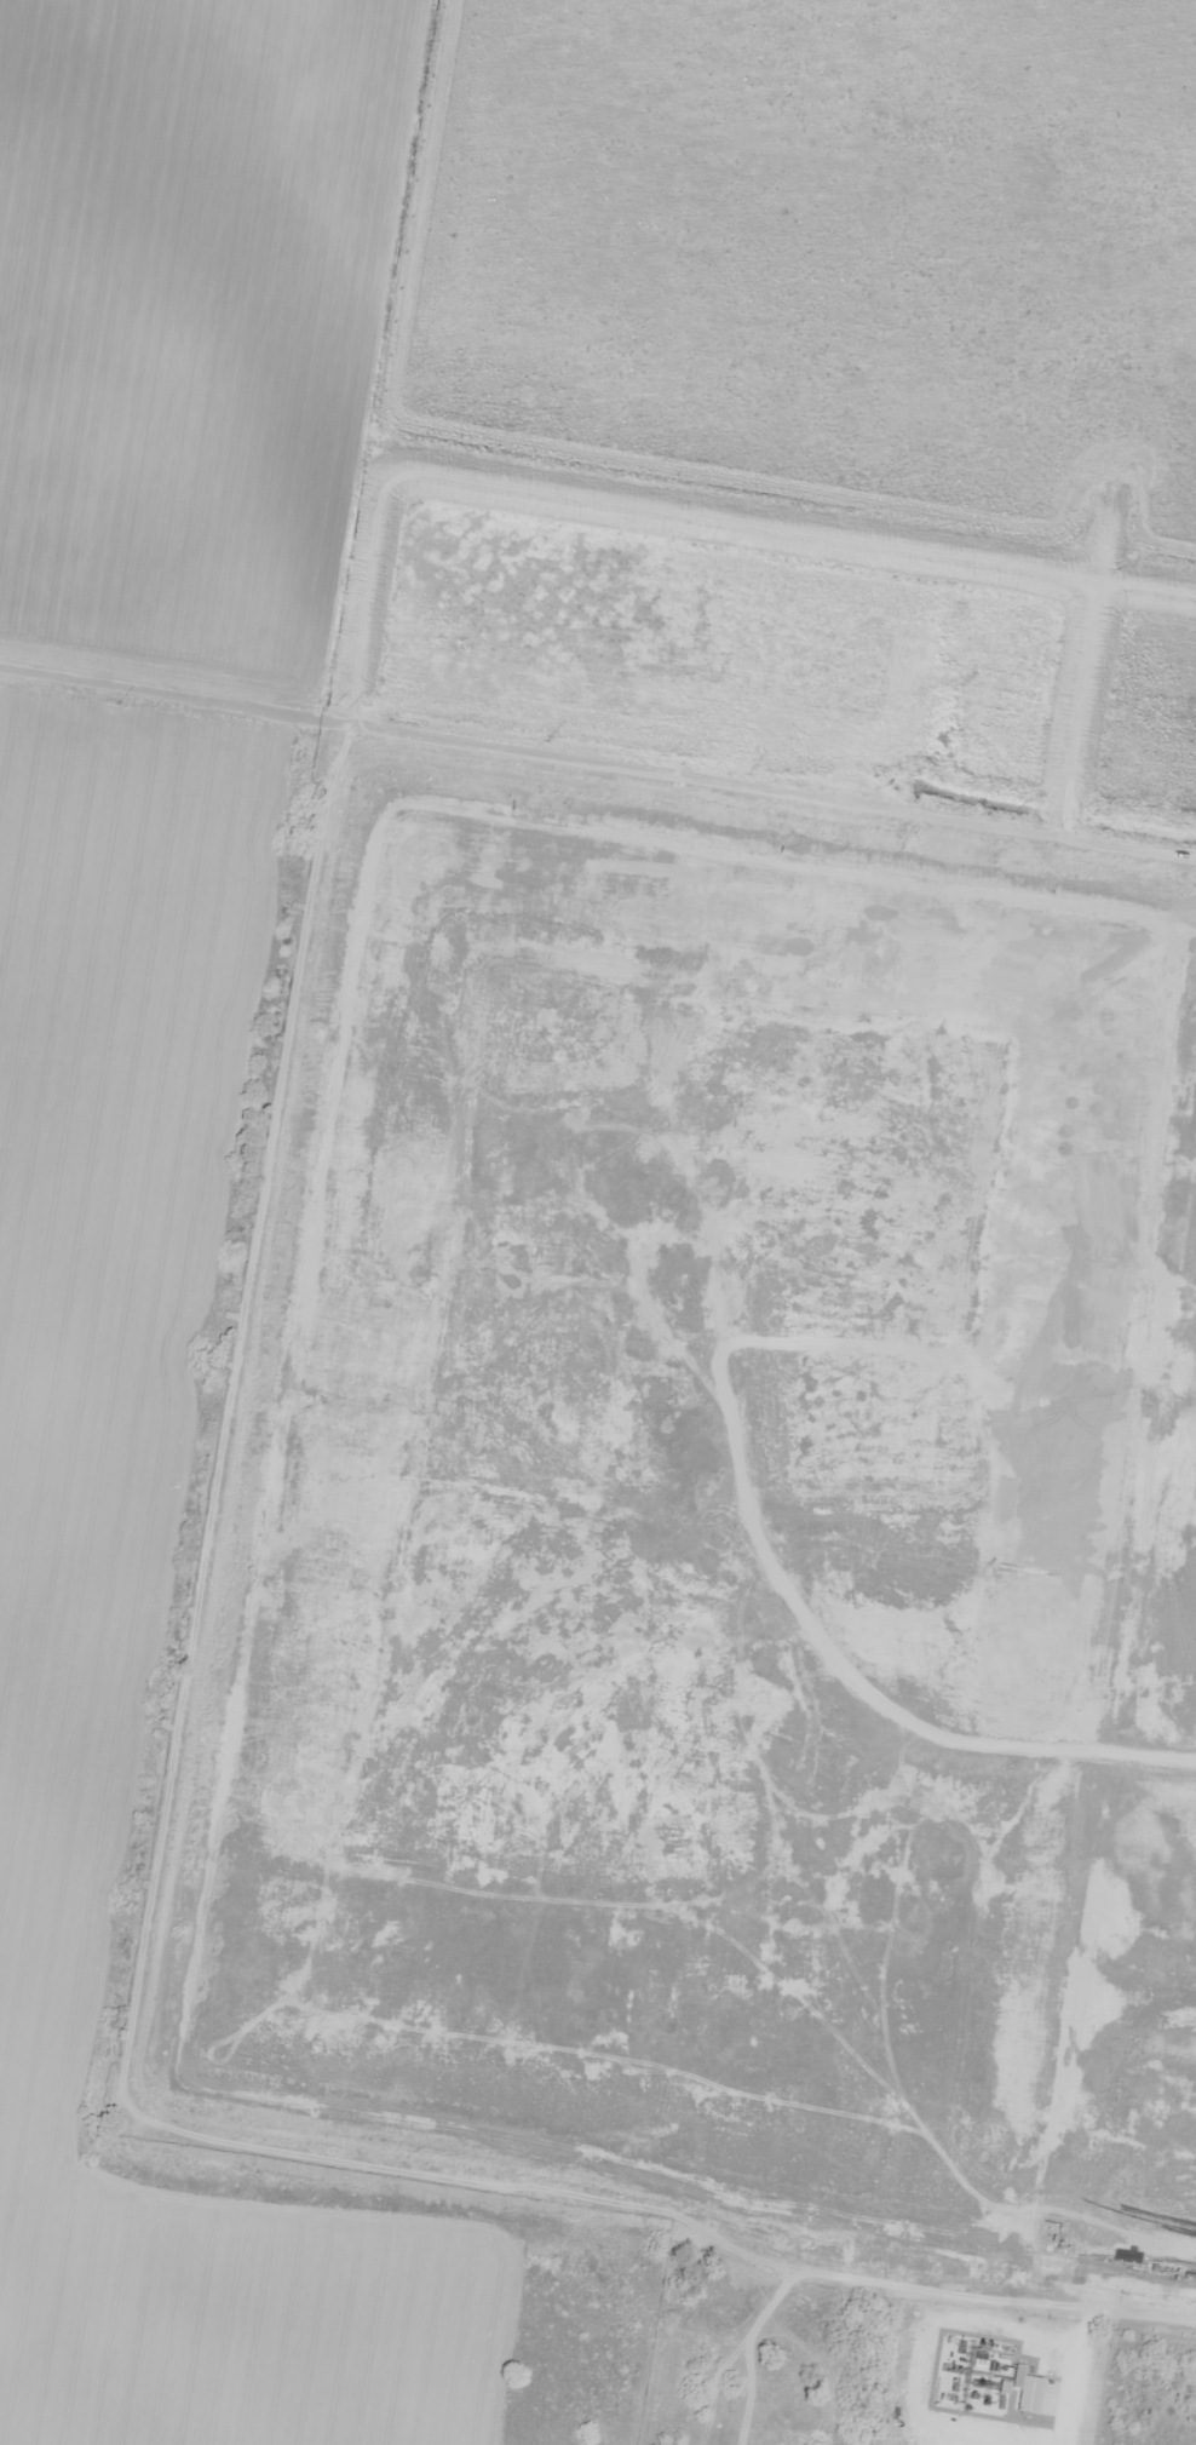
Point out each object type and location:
road: (598, 769)

